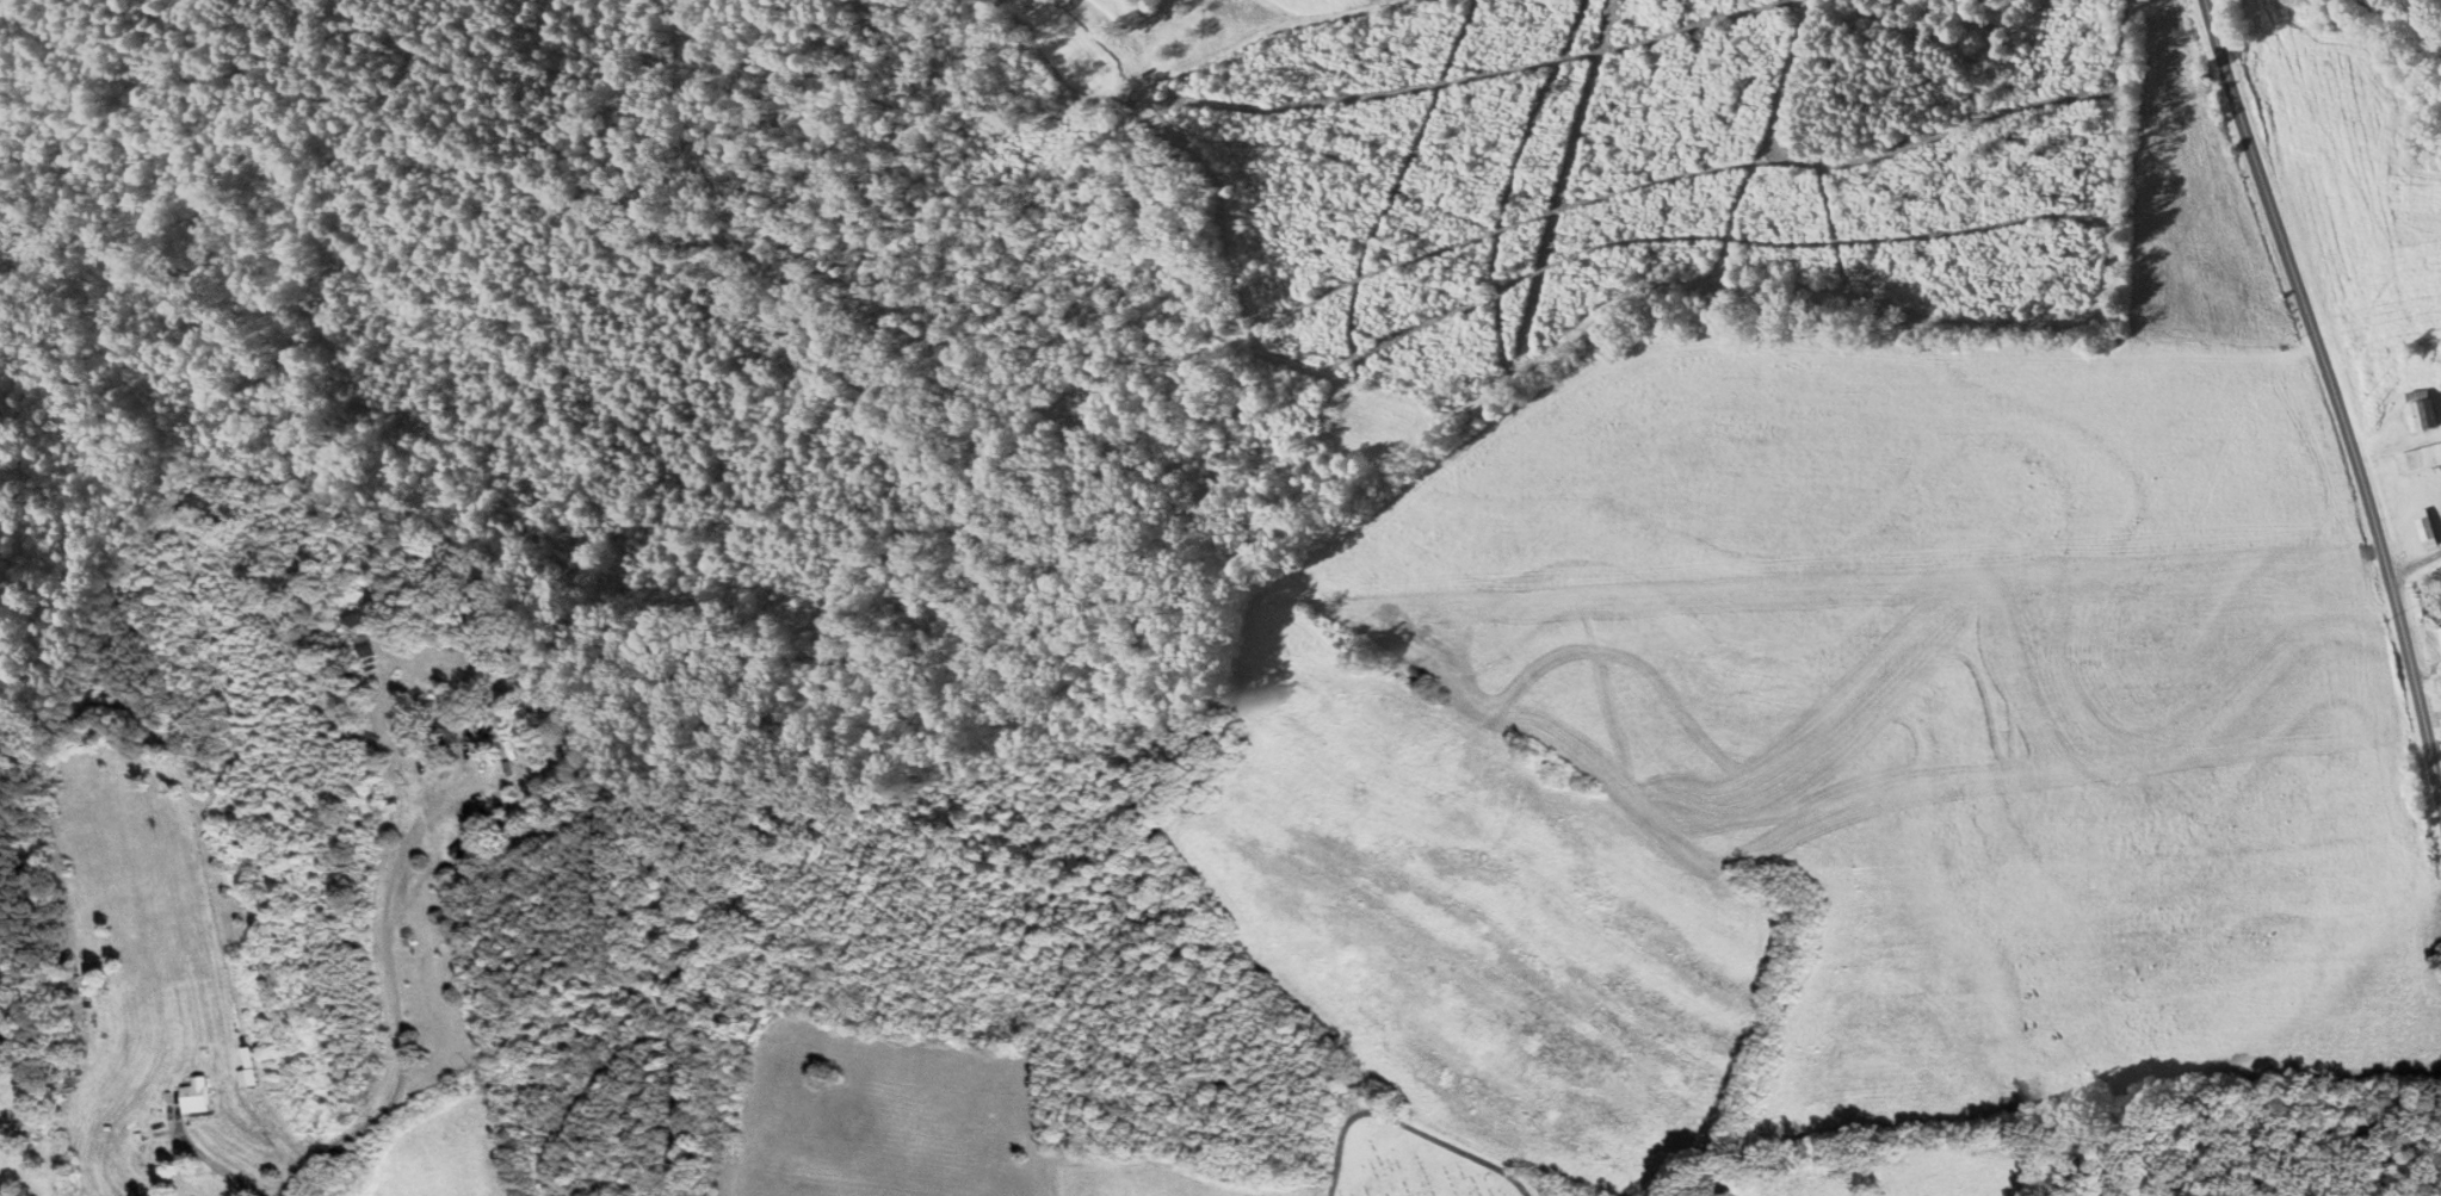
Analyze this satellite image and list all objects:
road: (2328, 396)
building: (2417, 409)
building: (2417, 457)
building: (2423, 527)
road: (2412, 566)
building: (353, 615)
building: (2440, 628)
building: (363, 643)
building: (471, 836)
road: (403, 1066)
building: (194, 1097)
park: (1409, 1165)

